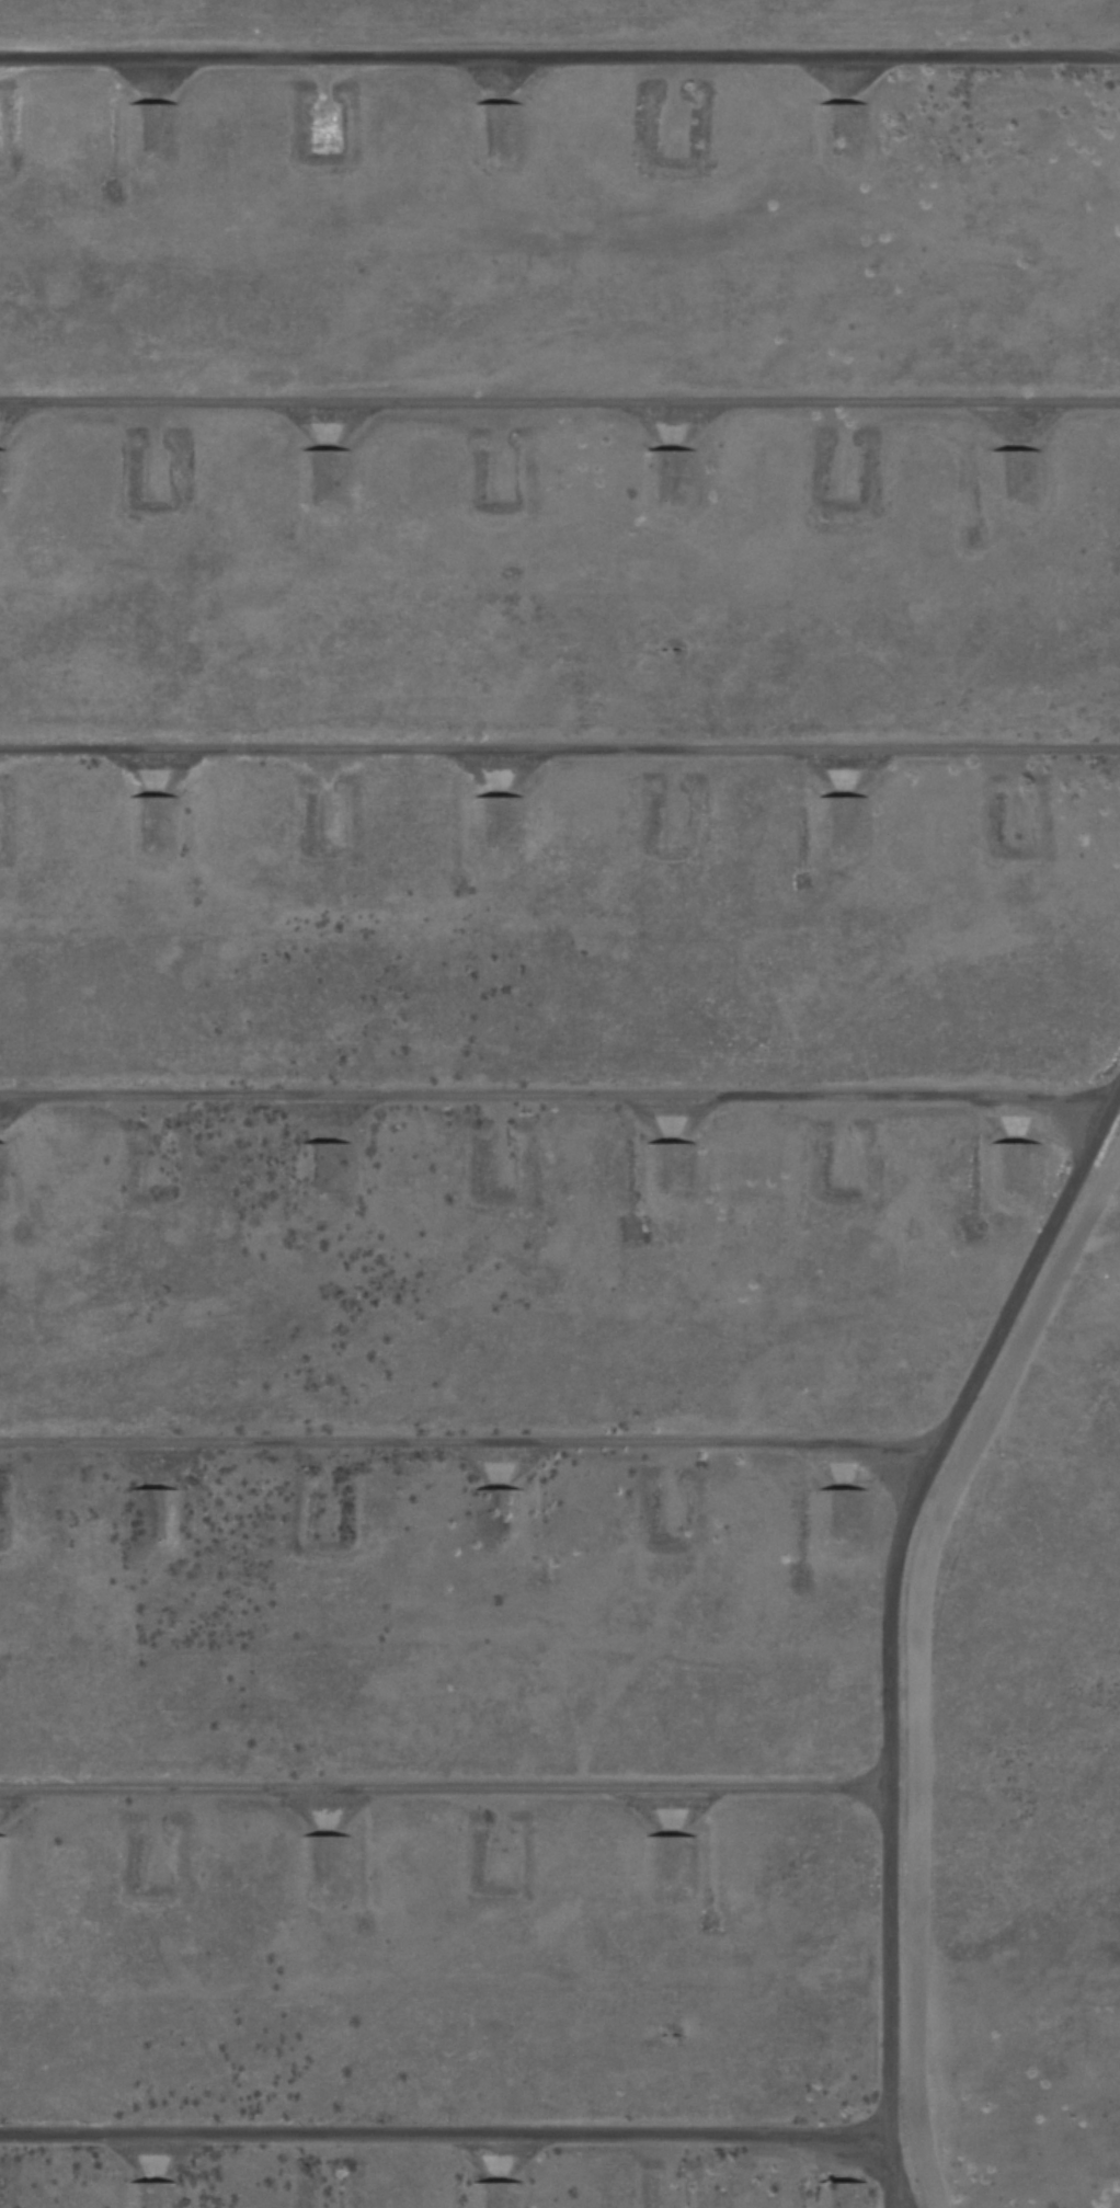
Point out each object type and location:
road: (560, 59)
road: (560, 384)
road: (560, 733)
road: (558, 1057)
road: (461, 1432)
road: (879, 1600)
road: (424, 1786)
road: (482, 2141)

